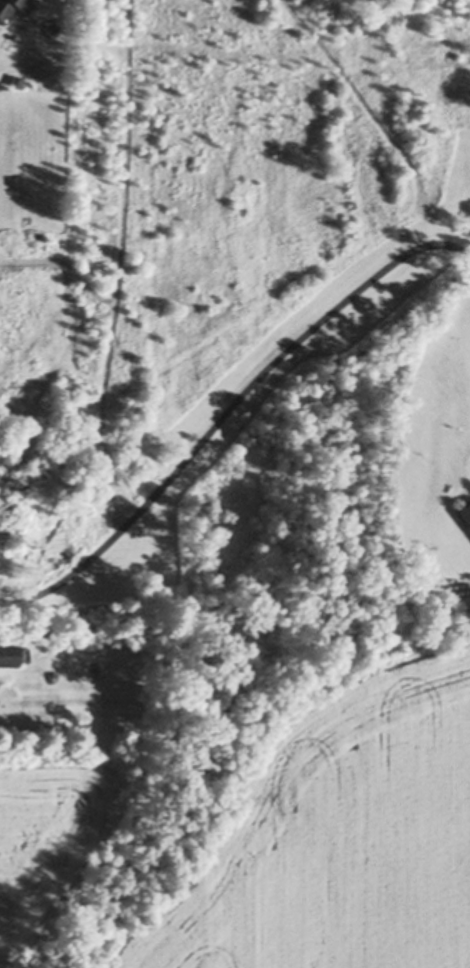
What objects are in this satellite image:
building: (8, 6)
building: (17, 79)
road: (228, 407)
building: (466, 512)
building: (10, 653)

